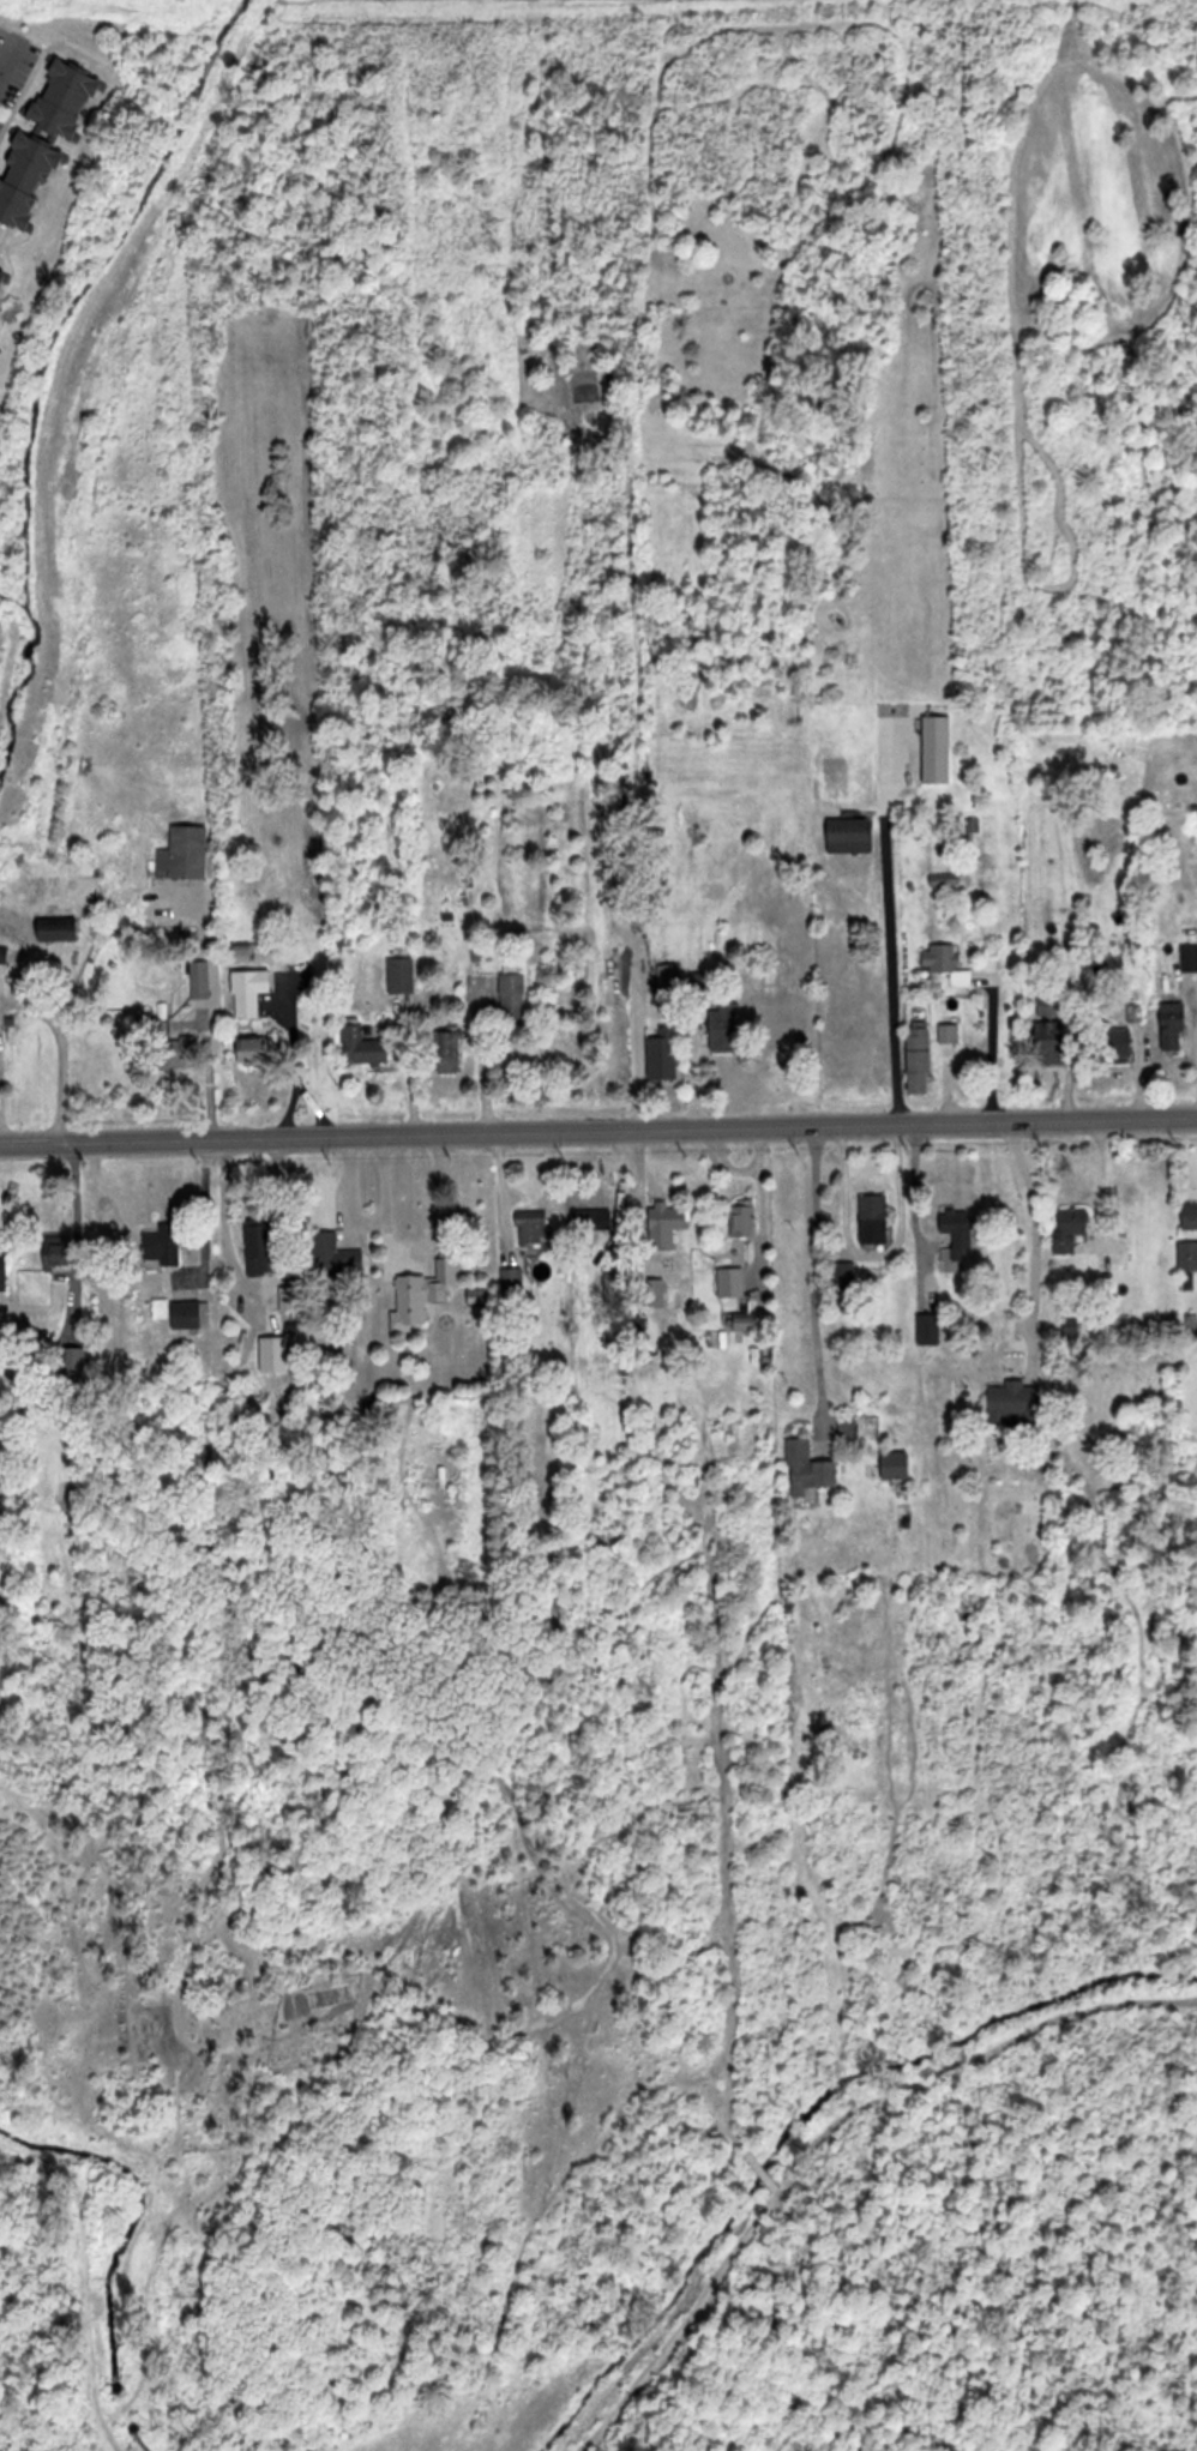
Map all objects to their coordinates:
road: (2, 64)
building: (68, 97)
building: (29, 177)
building: (2, 278)
building: (873, 351)
building: (938, 731)
building: (850, 838)
building: (186, 851)
building: (946, 879)
building: (53, 929)
road: (888, 943)
building: (4, 953)
building: (956, 968)
building: (403, 975)
building: (669, 976)
building: (201, 978)
building: (699, 981)
building: (252, 990)
building: (513, 990)
road: (25, 1000)
building: (1048, 1007)
building: (726, 1025)
building: (951, 1032)
building: (1175, 1034)
building: (1052, 1042)
road: (992, 1043)
building: (170, 1046)
building: (259, 1050)
building: (451, 1050)
building: (666, 1053)
building: (922, 1059)
road: (598, 1127)
road: (345, 1192)
road: (912, 1211)
building: (1190, 1215)
building: (876, 1218)
building: (589, 1220)
building: (745, 1220)
building: (668, 1223)
road: (228, 1227)
building: (1071, 1228)
building: (535, 1230)
building: (958, 1233)
road: (1037, 1237)
building: (163, 1243)
building: (261, 1247)
building: (58, 1251)
building: (327, 1253)
building: (1189, 1254)
road: (407, 1255)
building: (5, 1269)
road: (812, 1276)
building: (844, 1276)
building: (445, 1278)
building: (732, 1281)
building: (654, 1293)
building: (192, 1314)
building: (1016, 1403)
building: (810, 1470)

